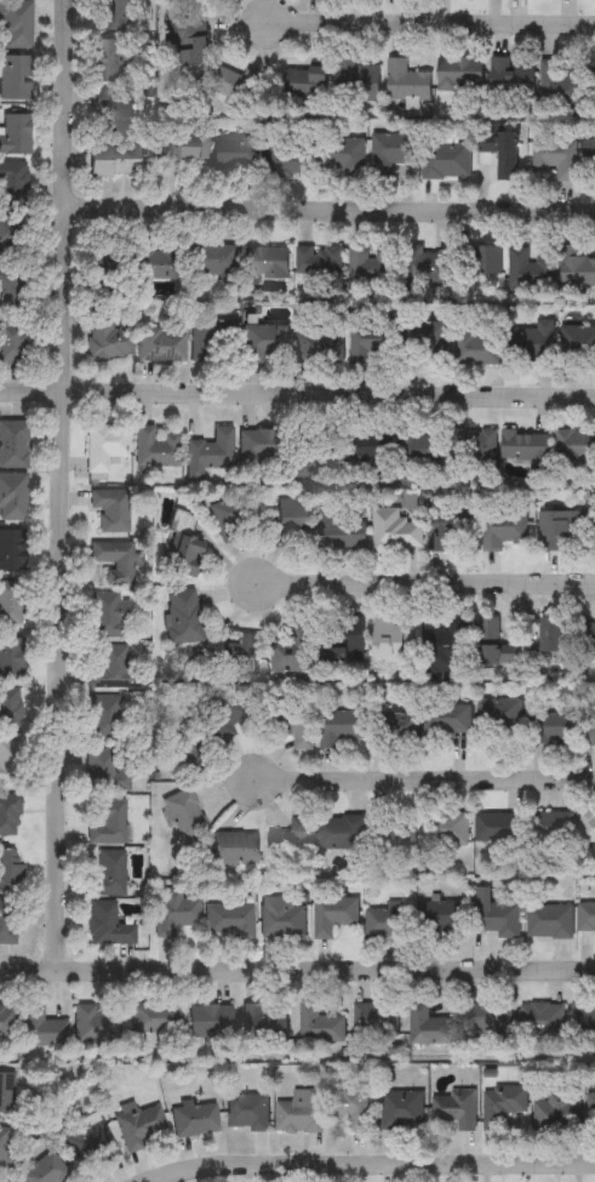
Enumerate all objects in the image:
building: (115, 15)
road: (430, 19)
building: (15, 24)
building: (193, 42)
building: (110, 61)
building: (459, 74)
building: (15, 78)
building: (510, 78)
building: (562, 79)
building: (304, 80)
building: (406, 81)
building: (356, 82)
building: (235, 87)
building: (16, 135)
building: (182, 147)
building: (500, 150)
building: (390, 152)
building: (234, 153)
building: (343, 154)
building: (287, 155)
building: (589, 155)
building: (555, 158)
building: (446, 161)
building: (111, 162)
building: (12, 184)
road: (331, 206)
building: (11, 233)
building: (105, 261)
building: (485, 261)
building: (213, 262)
building: (156, 263)
building: (317, 263)
building: (264, 264)
building: (367, 264)
building: (424, 265)
building: (530, 269)
building: (577, 273)
building: (12, 291)
building: (108, 341)
building: (429, 341)
building: (213, 342)
building: (13, 343)
building: (531, 343)
building: (160, 344)
building: (267, 344)
building: (577, 344)
building: (317, 347)
building: (373, 348)
building: (479, 349)
road: (297, 394)
building: (13, 445)
building: (370, 445)
building: (526, 446)
building: (154, 447)
building: (576, 447)
building: (314, 449)
building: (261, 450)
building: (420, 450)
building: (210, 452)
building: (479, 452)
road: (62, 484)
building: (12, 497)
building: (111, 510)
building: (233, 515)
building: (287, 519)
building: (447, 529)
building: (504, 529)
building: (560, 529)
building: (339, 531)
building: (397, 532)
building: (182, 547)
building: (12, 552)
building: (114, 563)
road: (423, 579)
building: (12, 604)
building: (109, 616)
building: (184, 617)
building: (388, 638)
building: (555, 638)
building: (587, 638)
building: (342, 644)
building: (448, 644)
building: (497, 645)
building: (240, 652)
building: (291, 656)
building: (12, 658)
building: (114, 670)
building: (10, 709)
building: (230, 710)
building: (107, 718)
building: (446, 719)
building: (293, 723)
building: (498, 723)
building: (591, 726)
building: (396, 727)
building: (341, 729)
building: (556, 729)
building: (183, 753)
building: (8, 763)
building: (104, 772)
road: (424, 776)
building: (185, 813)
building: (10, 816)
building: (108, 822)
building: (588, 827)
building: (548, 828)
building: (494, 829)
building: (341, 832)
building: (293, 834)
building: (393, 836)
building: (447, 838)
building: (234, 849)
building: (10, 870)
building: (108, 875)
building: (175, 913)
building: (328, 915)
building: (494, 915)
building: (446, 918)
building: (587, 918)
building: (281, 919)
building: (230, 921)
building: (549, 921)
building: (7, 923)
building: (388, 923)
building: (107, 926)
road: (297, 970)
building: (154, 1017)
building: (486, 1017)
building: (542, 1017)
building: (374, 1018)
building: (585, 1018)
building: (6, 1021)
building: (210, 1021)
building: (97, 1022)
building: (263, 1023)
building: (320, 1024)
building: (428, 1026)
building: (42, 1028)
building: (6, 1092)
building: (349, 1103)
building: (502, 1103)
building: (402, 1108)
building: (454, 1108)
building: (591, 1109)
building: (247, 1112)
building: (299, 1112)
building: (555, 1112)
building: (194, 1119)
building: (138, 1124)
building: (88, 1140)
building: (4, 1148)
road: (373, 1161)
building: (44, 1170)

